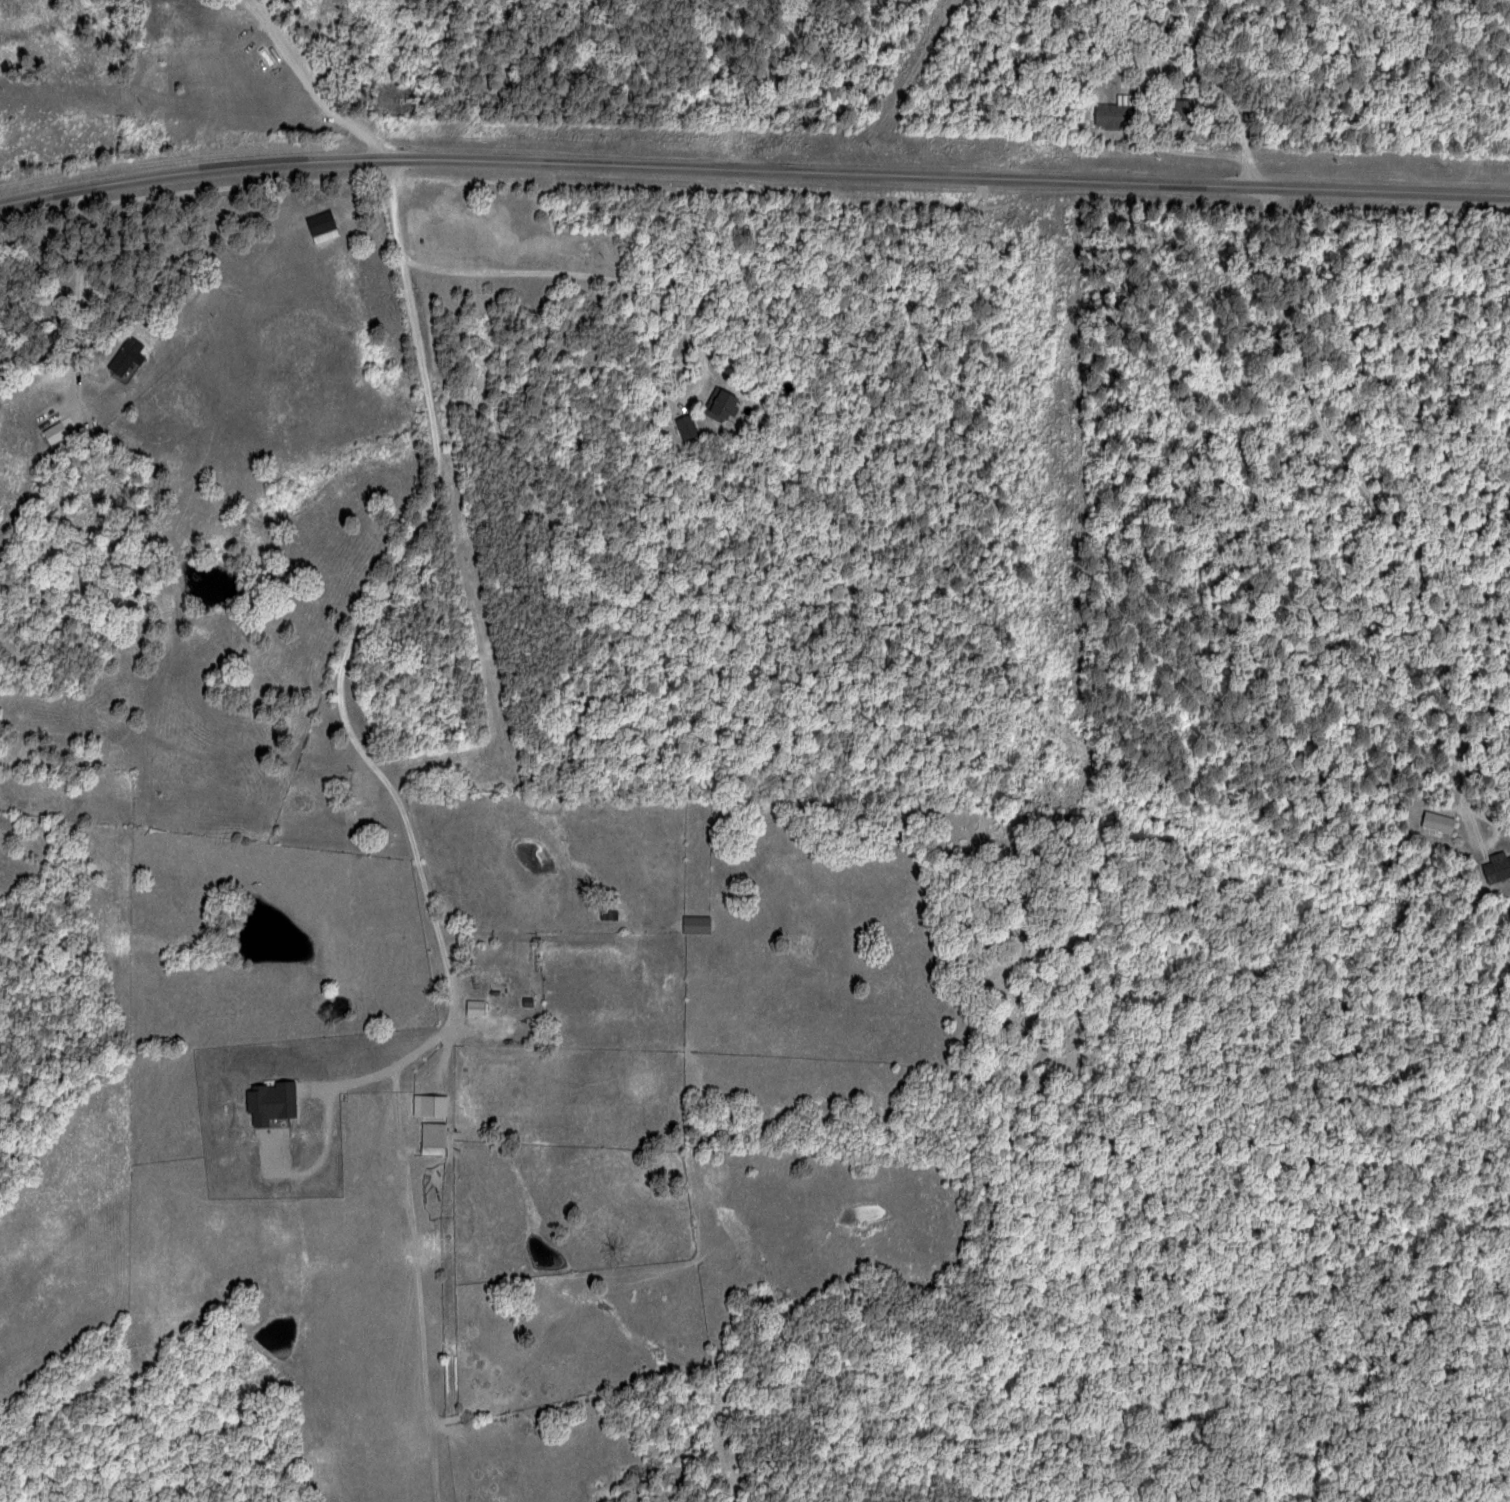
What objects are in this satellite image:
road: (1182, 80)
building: (1183, 109)
building: (1115, 117)
road: (752, 172)
building: (323, 228)
building: (137, 355)
building: (723, 405)
building: (66, 432)
road: (296, 743)
building: (484, 1008)
building: (440, 1106)

